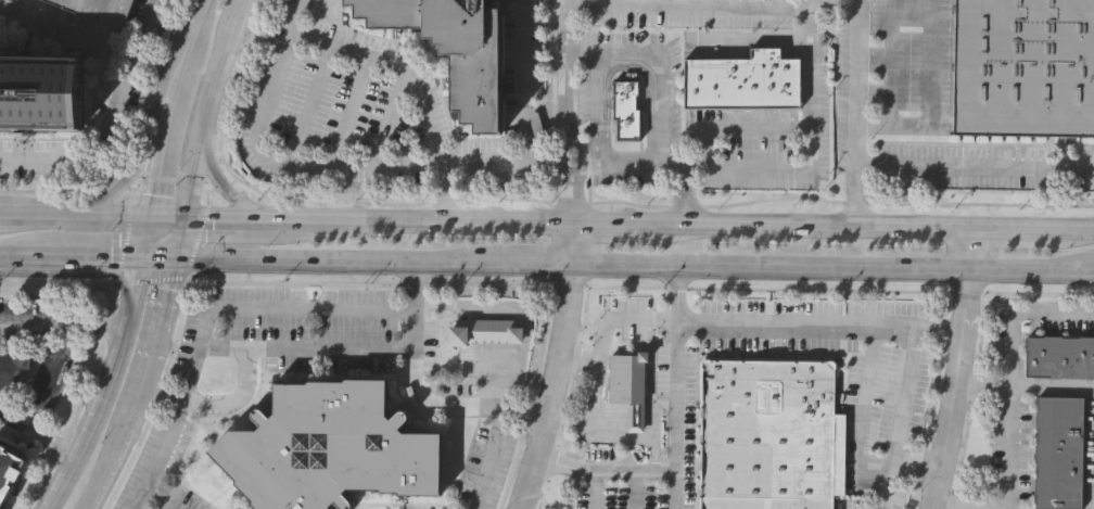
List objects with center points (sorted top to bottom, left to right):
road: (245, 1)
road: (690, 5)
building: (101, 10)
parking garage: (101, 10)
road: (52, 13)
building: (392, 13)
road: (931, 26)
building: (458, 27)
road: (68, 29)
road: (195, 35)
road: (756, 36)
road: (565, 54)
road: (160, 64)
road: (397, 65)
road: (659, 67)
building: (1025, 67)
road: (132, 69)
building: (482, 80)
building: (738, 80)
road: (597, 84)
road: (148, 88)
building: (37, 92)
road: (177, 93)
building: (625, 110)
road: (205, 111)
road: (855, 113)
road: (772, 129)
road: (598, 141)
road: (563, 152)
road: (578, 152)
road: (56, 160)
road: (390, 163)
road: (975, 166)
road: (160, 168)
road: (715, 168)
road: (110, 189)
road: (216, 189)
road: (55, 190)
road: (225, 191)
road: (444, 191)
road: (565, 205)
road: (571, 208)
road: (9, 219)
road: (446, 219)
road: (84, 221)
road: (251, 221)
traffic signals: (149, 222)
road: (165, 222)
traffic signals: (181, 222)
road: (627, 222)
road: (769, 225)
road: (912, 227)
road: (1002, 229)
road: (1065, 230)
road: (145, 241)
road: (178, 241)
road: (195, 242)
road: (124, 244)
road: (968, 249)
road: (13, 258)
road: (84, 258)
traffic signals: (142, 259)
road: (158, 259)
traffic signals: (176, 259)
road: (372, 260)
road: (620, 263)
road: (819, 266)
road: (1031, 269)
road: (150, 279)
road: (568, 287)
road: (1020, 293)
road: (411, 304)
road: (290, 307)
road: (165, 315)
road: (611, 318)
road: (101, 325)
road: (855, 327)
road: (524, 328)
road: (934, 331)
building: (485, 333)
road: (66, 339)
road: (101, 346)
road: (198, 346)
building: (1060, 355)
road: (575, 359)
parking lot: (591, 362)
road: (557, 367)
road: (669, 367)
road: (1009, 369)
building: (11, 371)
road: (245, 378)
building: (627, 385)
road: (1025, 386)
road: (105, 387)
road: (955, 390)
road: (165, 393)
road: (155, 398)
road: (484, 408)
road: (854, 412)
road: (599, 435)
building: (771, 435)
road: (38, 436)
road: (119, 440)
building: (329, 447)
building: (1056, 450)
road: (561, 465)
road: (914, 466)
building: (9, 470)
road: (646, 472)
road: (881, 484)
road: (587, 491)
road: (626, 491)
road: (158, 497)
road: (969, 505)

